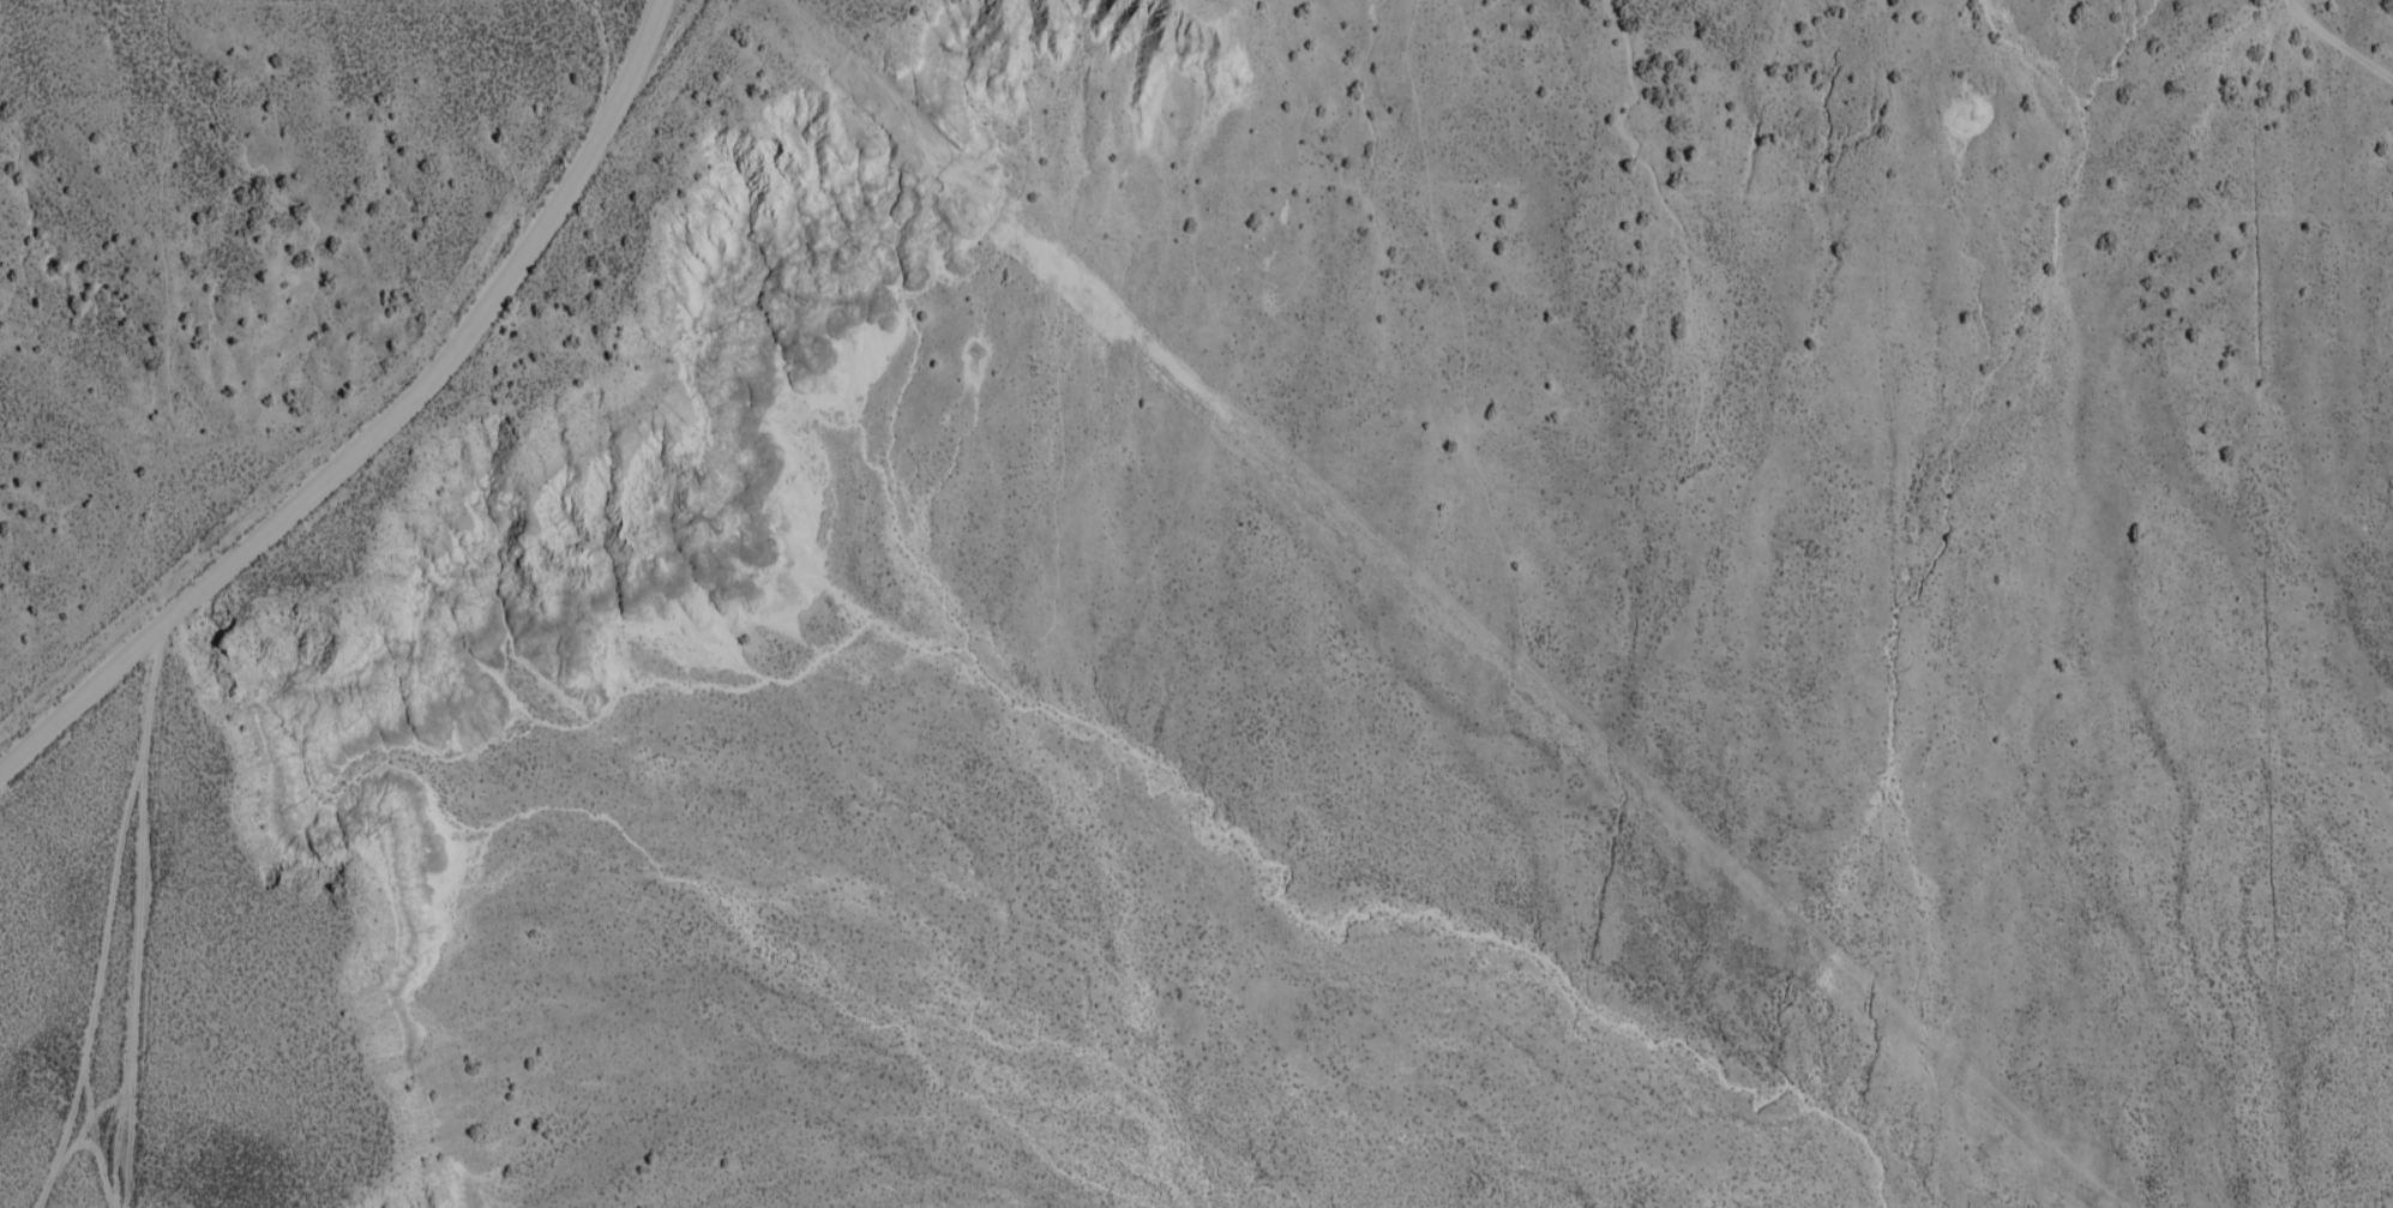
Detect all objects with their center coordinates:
road: (645, 76)
road: (383, 428)
road: (136, 914)

